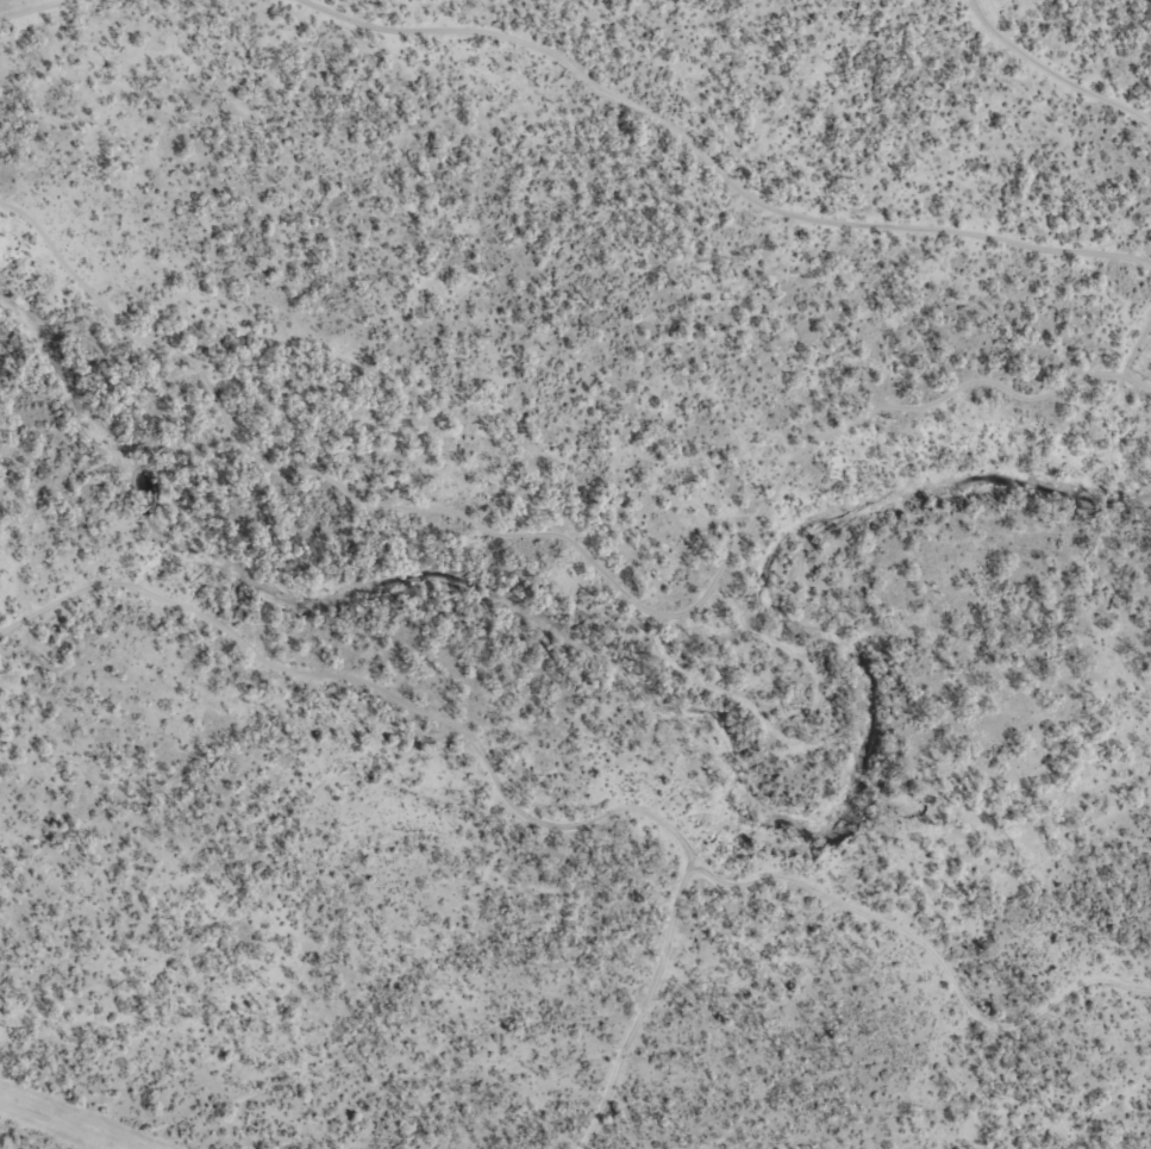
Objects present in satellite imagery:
road: (708, 168)

